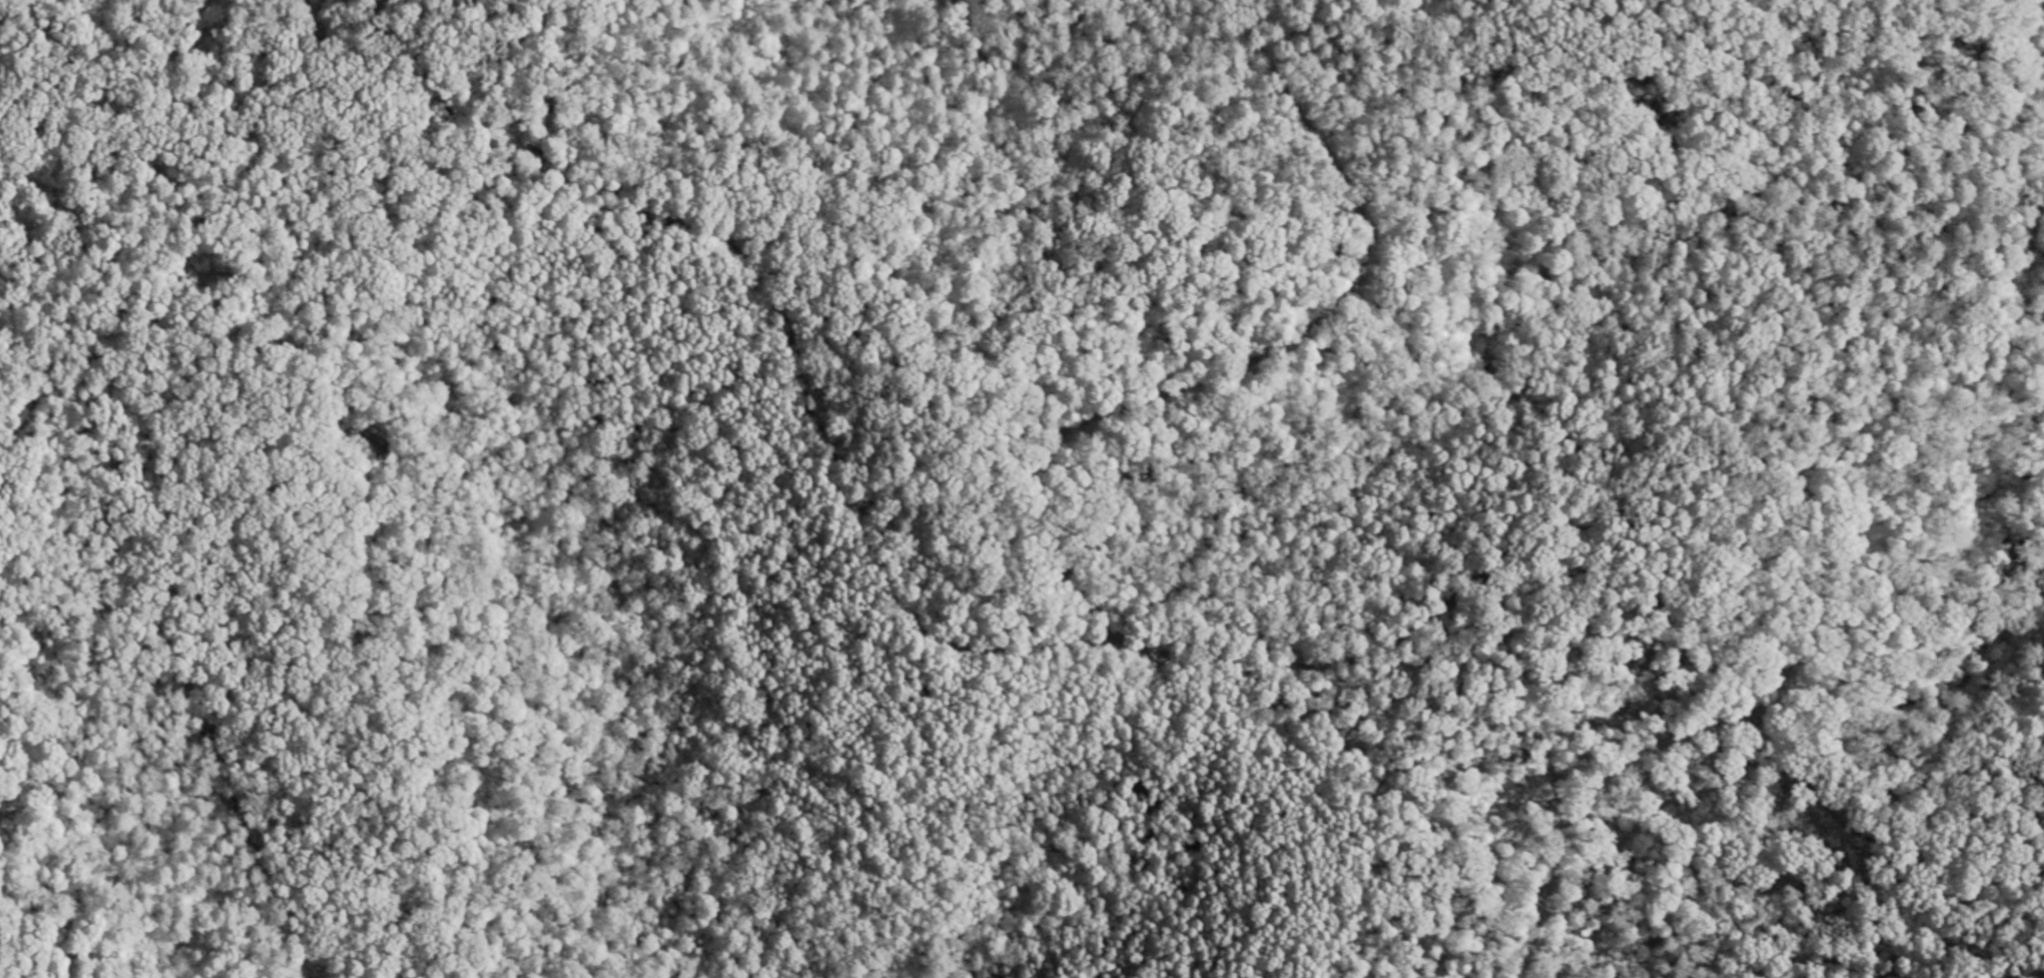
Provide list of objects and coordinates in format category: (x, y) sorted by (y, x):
road: (744, 260)
road: (1252, 362)
road: (1519, 545)

